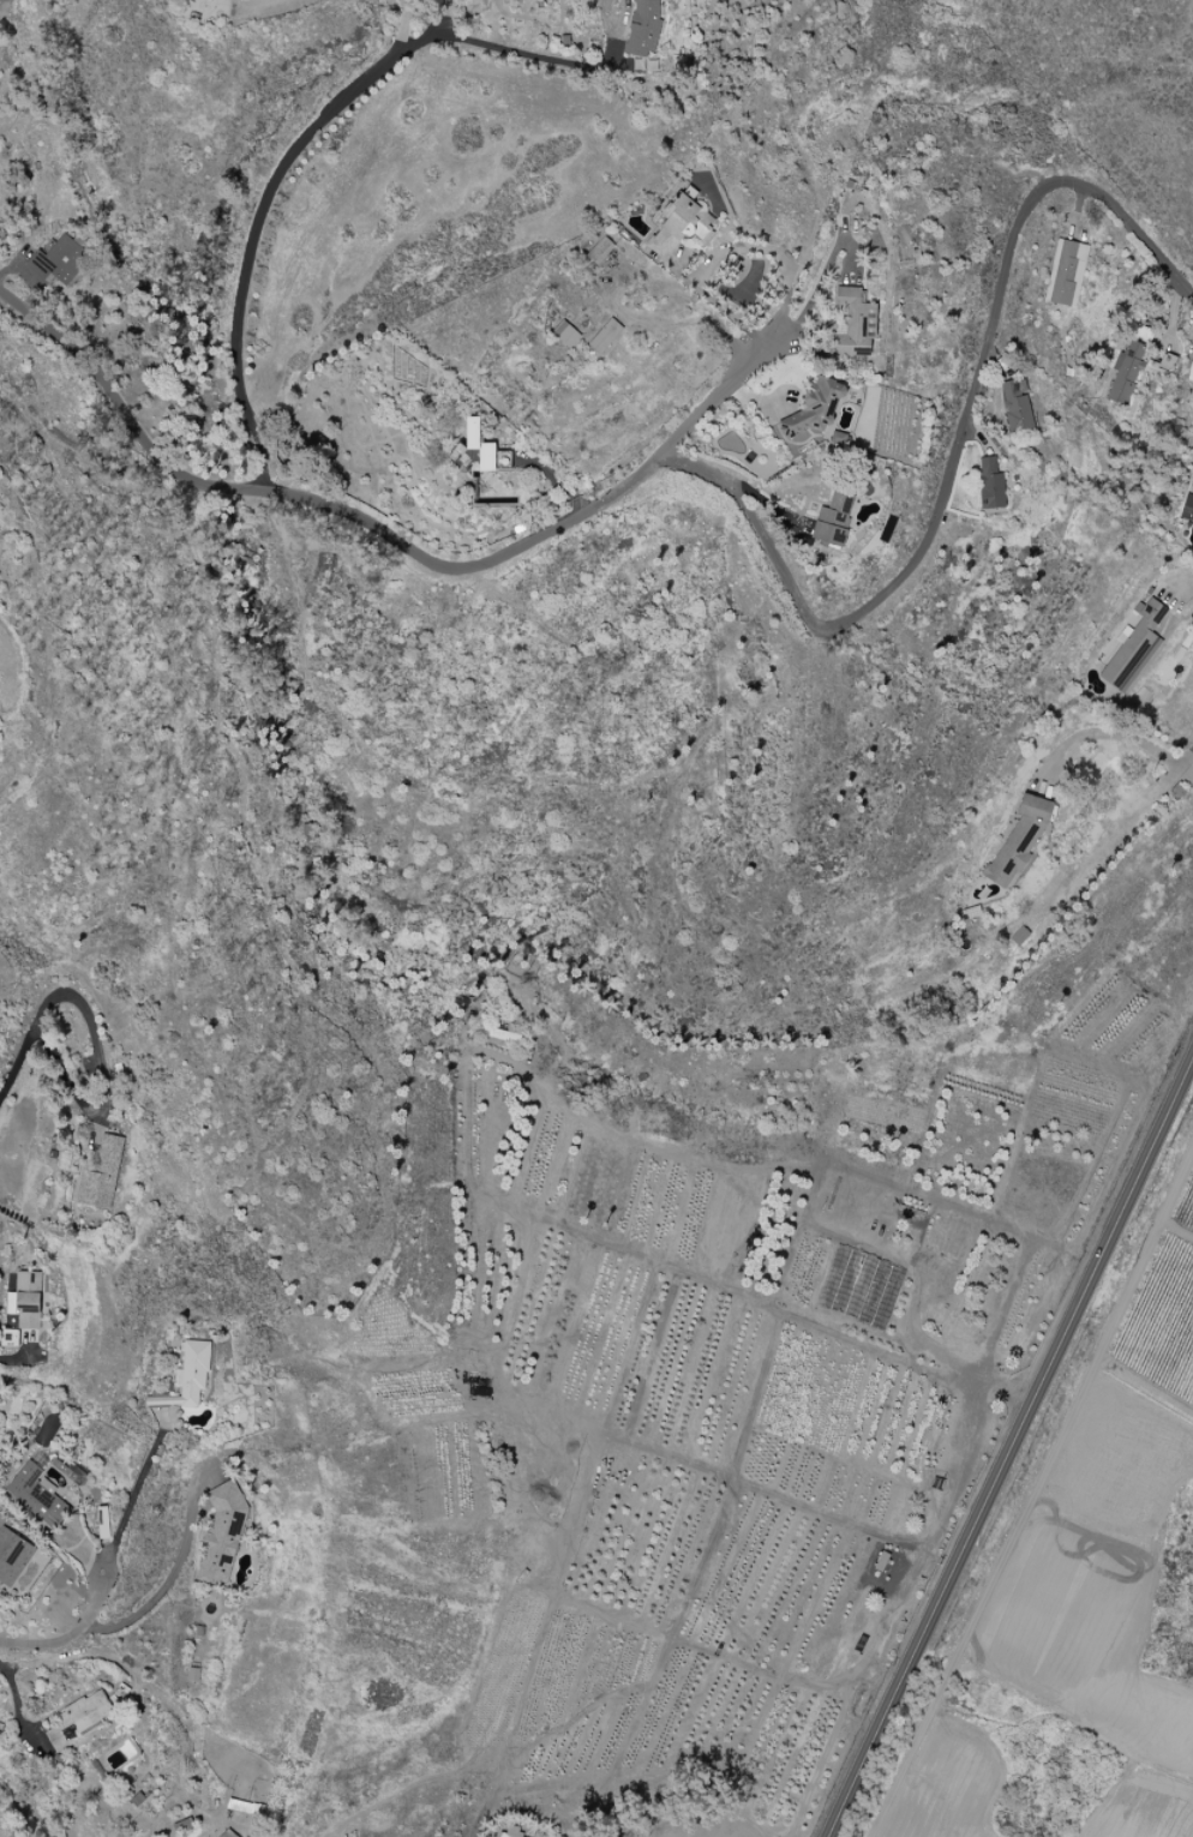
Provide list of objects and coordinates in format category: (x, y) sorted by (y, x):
road: (414, 17)
building: (641, 28)
road: (532, 56)
building: (679, 224)
road: (251, 235)
building: (605, 246)
road: (777, 253)
building: (58, 262)
building: (1065, 272)
road: (825, 275)
road: (718, 304)
building: (565, 334)
building: (606, 337)
building: (1125, 373)
building: (1015, 406)
building: (815, 408)
building: (479, 450)
road: (955, 450)
road: (89, 468)
building: (1192, 468)
building: (990, 485)
building: (1187, 509)
building: (833, 518)
road: (398, 542)
building: (1134, 647)
road: (1114, 739)
road: (1188, 760)
road: (1188, 768)
building: (1019, 839)
road: (68, 990)
building: (500, 1034)
building: (101, 1175)
building: (28, 1299)
building: (8, 1338)
road: (922, 1344)
road: (16, 1357)
building: (187, 1377)
road: (1009, 1445)
building: (34, 1493)
road: (130, 1500)
building: (221, 1532)
building: (12, 1556)
road: (157, 1596)
road: (72, 1635)
building: (78, 1719)
crop: (942, 1783)
crop: (1086, 1831)
building: (227, 1833)
building: (504, 1835)

